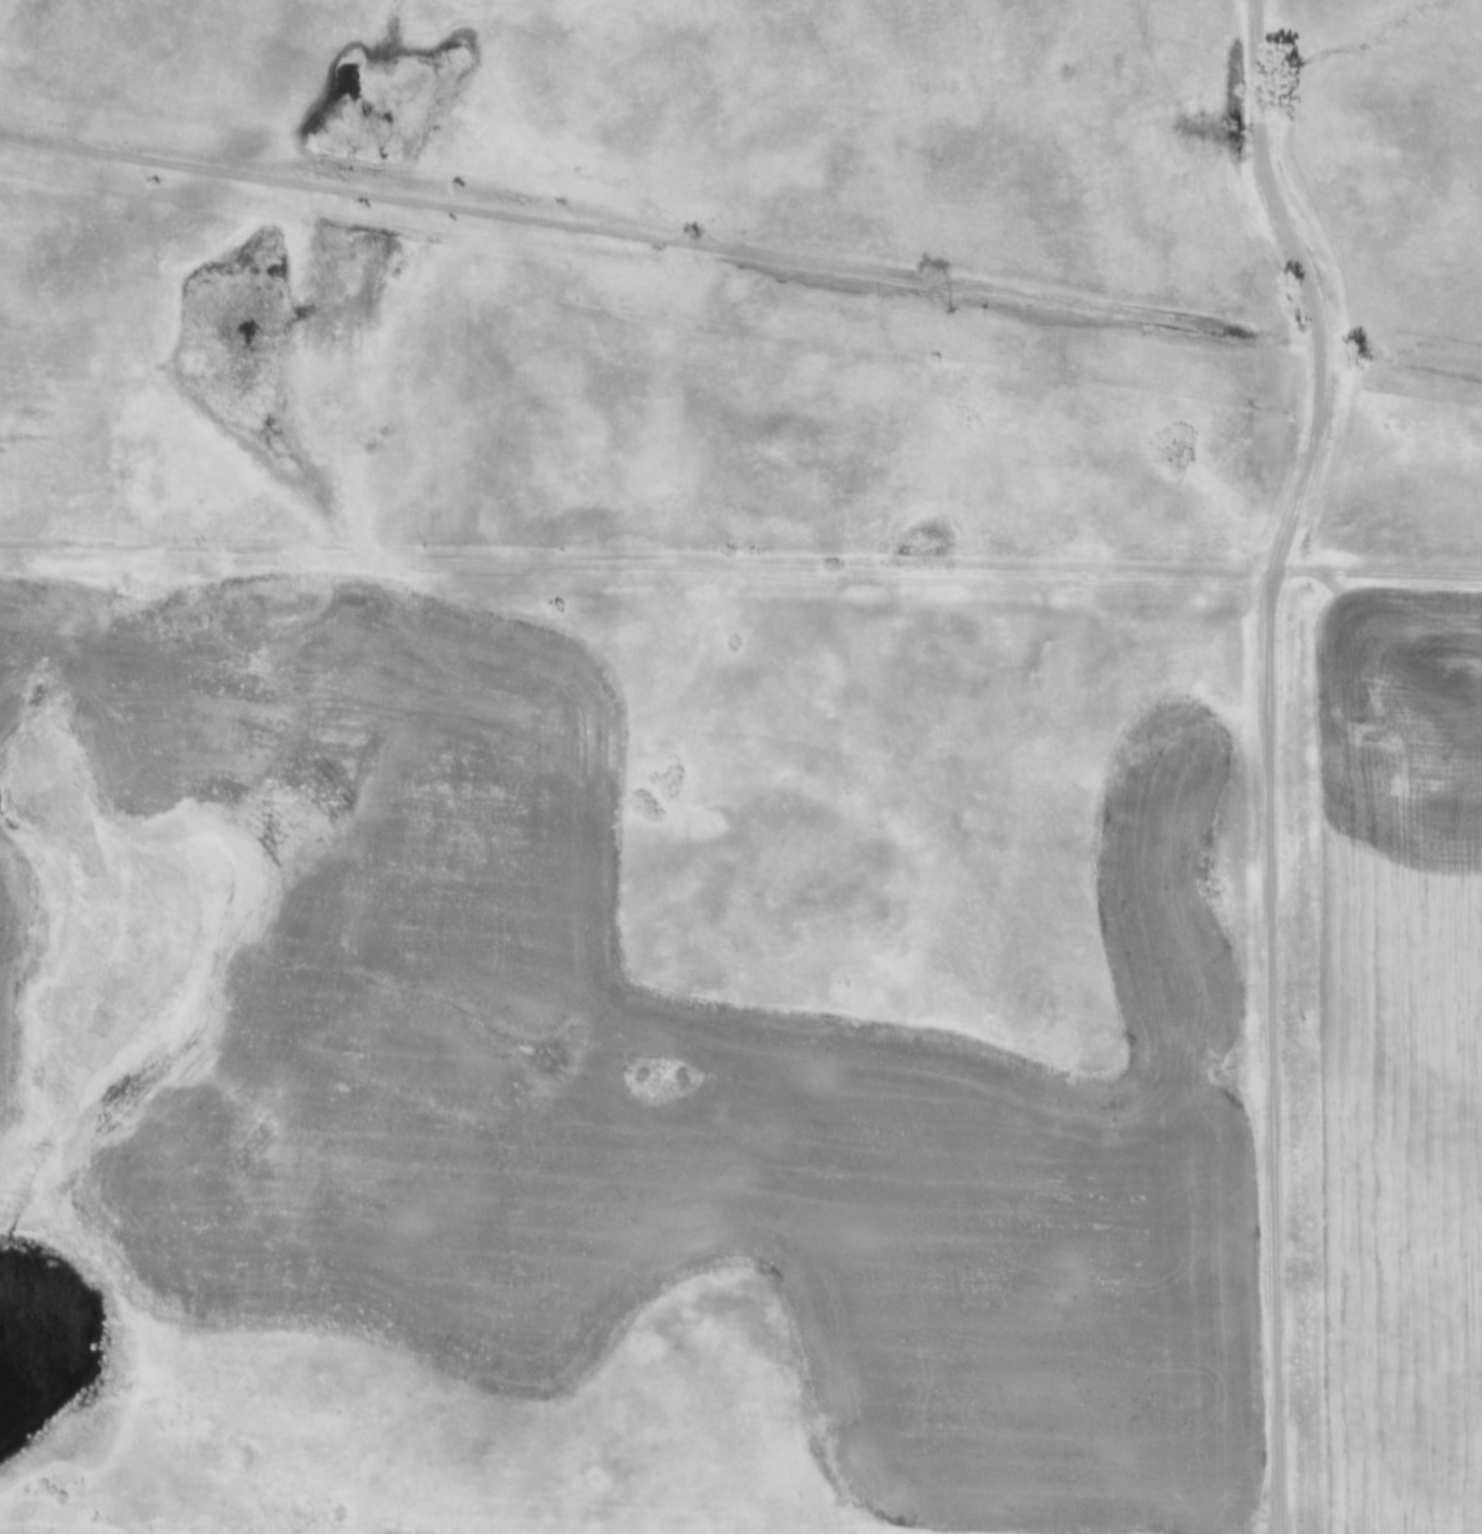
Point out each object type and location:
road: (1315, 291)
road: (741, 576)
road: (1280, 1058)

